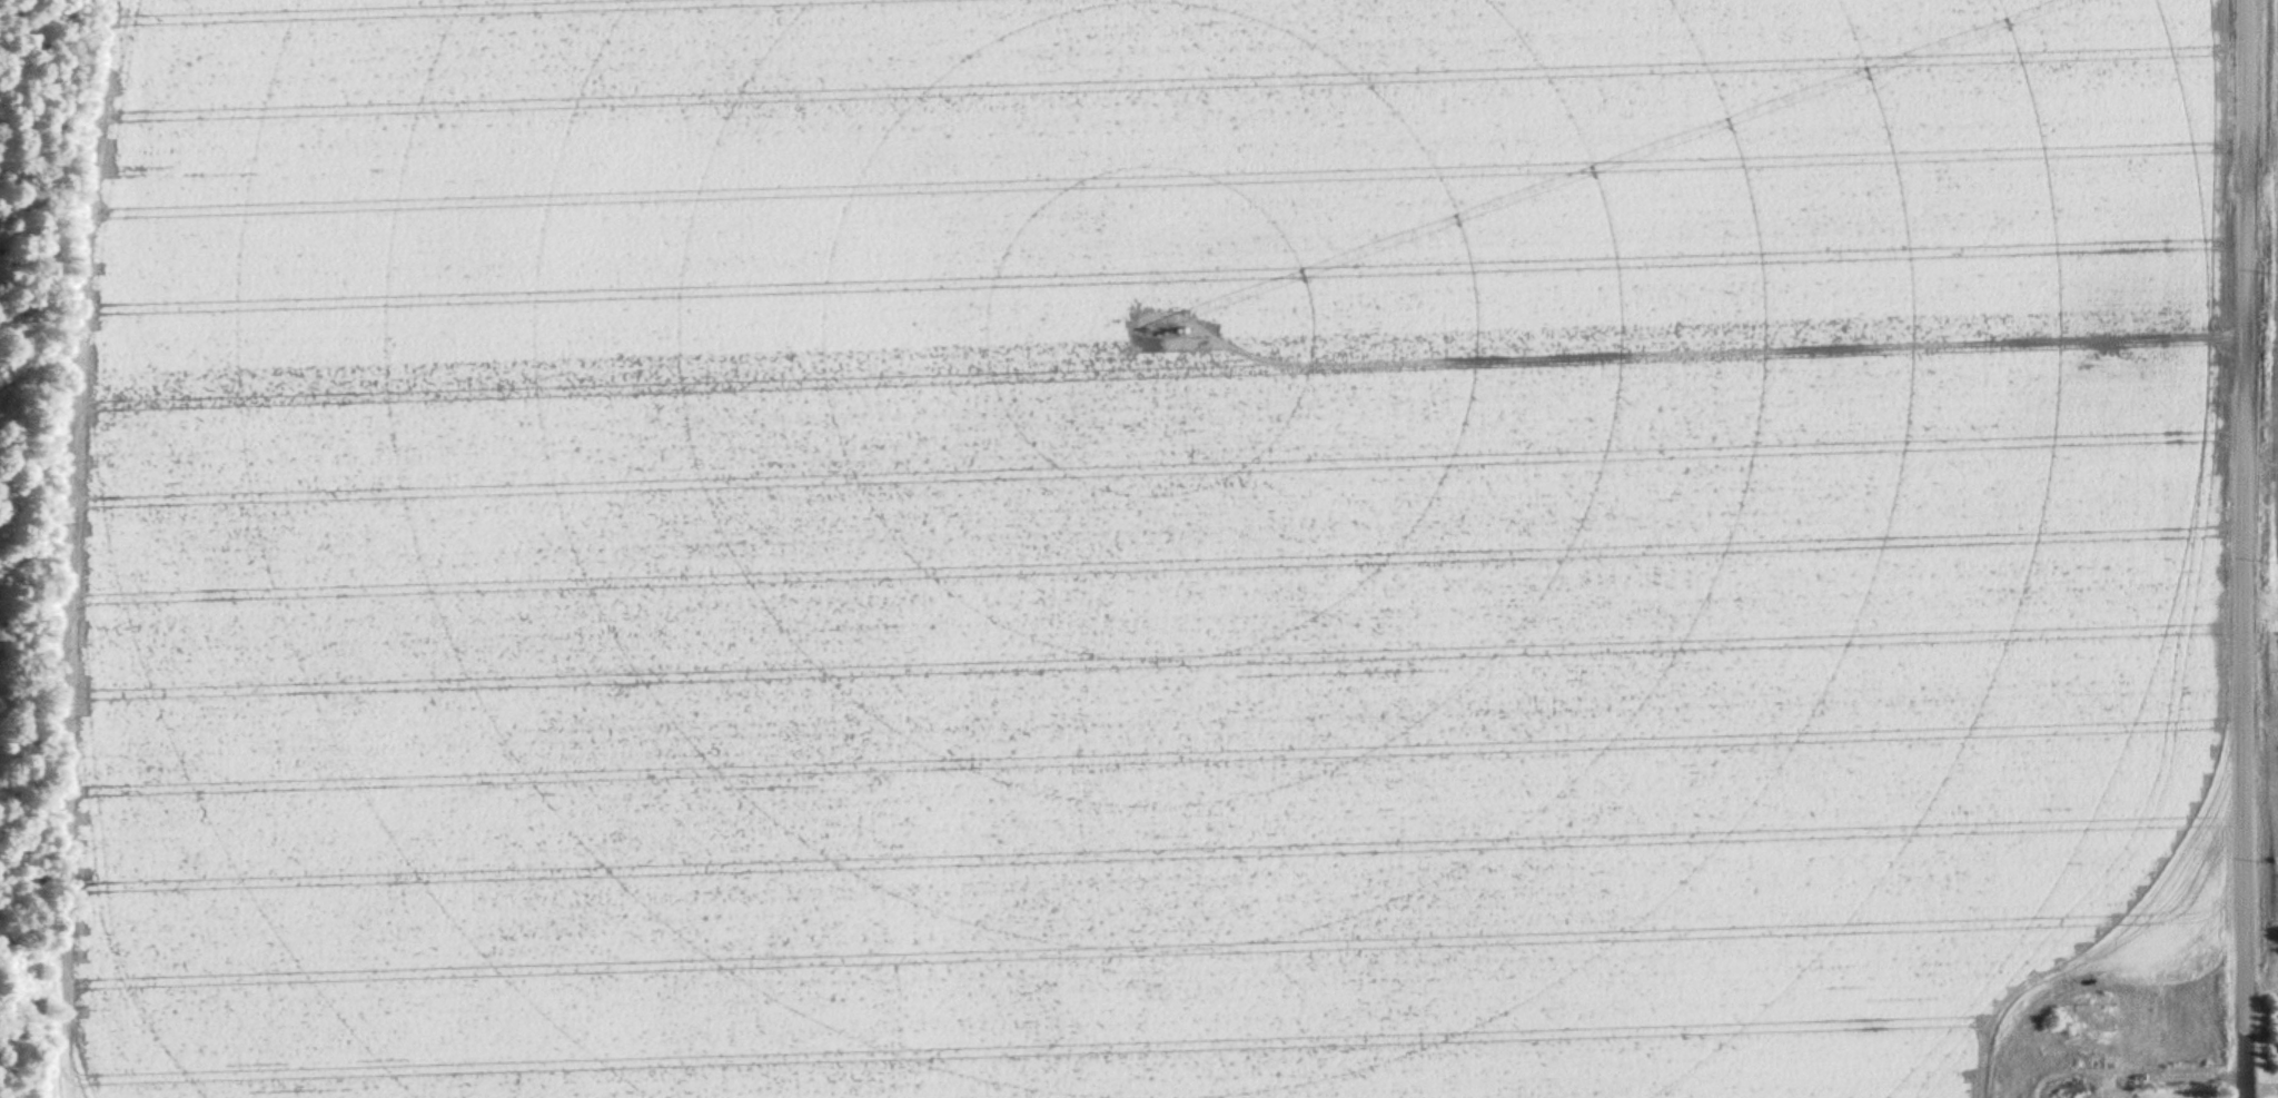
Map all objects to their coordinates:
road: (2239, 516)
road: (2235, 1065)
road: (2257, 1090)

